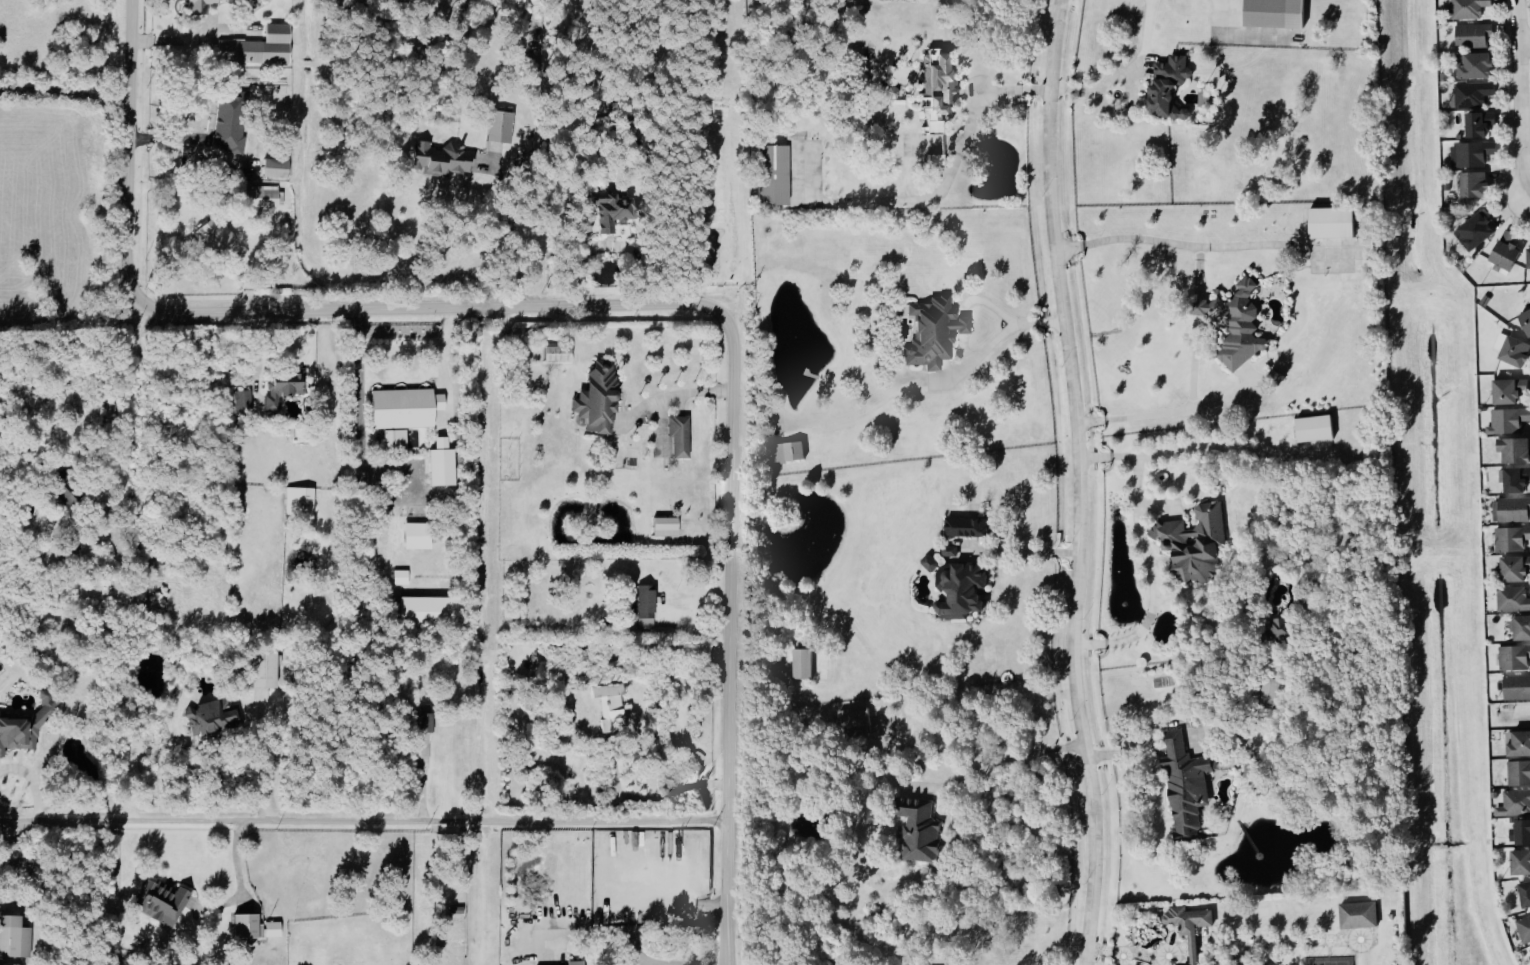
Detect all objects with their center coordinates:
building: (197, 7)
building: (1469, 9)
building: (1275, 14)
building: (1473, 36)
road: (1525, 40)
building: (256, 47)
building: (1474, 66)
road: (1129, 75)
building: (1167, 88)
building: (936, 91)
building: (1472, 94)
road: (65, 99)
road: (1521, 100)
road: (1125, 109)
building: (228, 119)
building: (1478, 124)
building: (498, 127)
building: (1471, 154)
building: (438, 158)
building: (273, 168)
building: (772, 174)
building: (1473, 185)
road: (941, 191)
building: (259, 196)
road: (1527, 201)
building: (610, 211)
building: (1331, 223)
building: (1474, 232)
building: (213, 234)
building: (1504, 252)
building: (1528, 256)
building: (1485, 301)
road: (605, 304)
road: (1196, 315)
road: (1004, 316)
building: (1525, 321)
road: (962, 326)
building: (1236, 326)
building: (932, 333)
road: (77, 340)
building: (1514, 351)
building: (554, 352)
road: (984, 352)
road: (259, 360)
road: (441, 365)
building: (1275, 378)
building: (281, 386)
building: (1508, 390)
building: (243, 399)
building: (594, 399)
building: (401, 407)
road: (361, 411)
building: (1508, 420)
building: (1314, 430)
building: (678, 435)
building: (393, 438)
building: (1513, 449)
building: (787, 453)
building: (441, 467)
building: (1515, 479)
road: (1079, 482)
building: (65, 492)
building: (298, 502)
building: (1512, 510)
building: (964, 526)
building: (665, 527)
building: (416, 535)
building: (1511, 538)
building: (1193, 542)
building: (949, 550)
road: (1144, 551)
building: (929, 562)
building: (156, 567)
building: (1514, 568)
building: (400, 577)
building: (960, 590)
building: (1513, 598)
building: (643, 606)
building: (428, 612)
building: (1278, 627)
building: (1521, 627)
building: (1514, 657)
building: (803, 664)
building: (260, 668)
building: (1516, 687)
building: (1270, 692)
building: (608, 704)
building: (212, 715)
building: (423, 721)
building: (854, 722)
building: (1518, 743)
road: (1009, 757)
road: (272, 761)
building: (1518, 773)
road: (33, 781)
building: (1185, 784)
road: (659, 794)
building: (1514, 803)
road: (363, 821)
building: (917, 829)
building: (1520, 832)
building: (1520, 862)
road: (238, 875)
building: (1524, 893)
building: (159, 901)
building: (455, 910)
building: (1357, 915)
building: (1189, 925)
building: (1524, 928)
building: (271, 929)
building: (13, 937)
road: (635, 949)
building: (573, 962)

